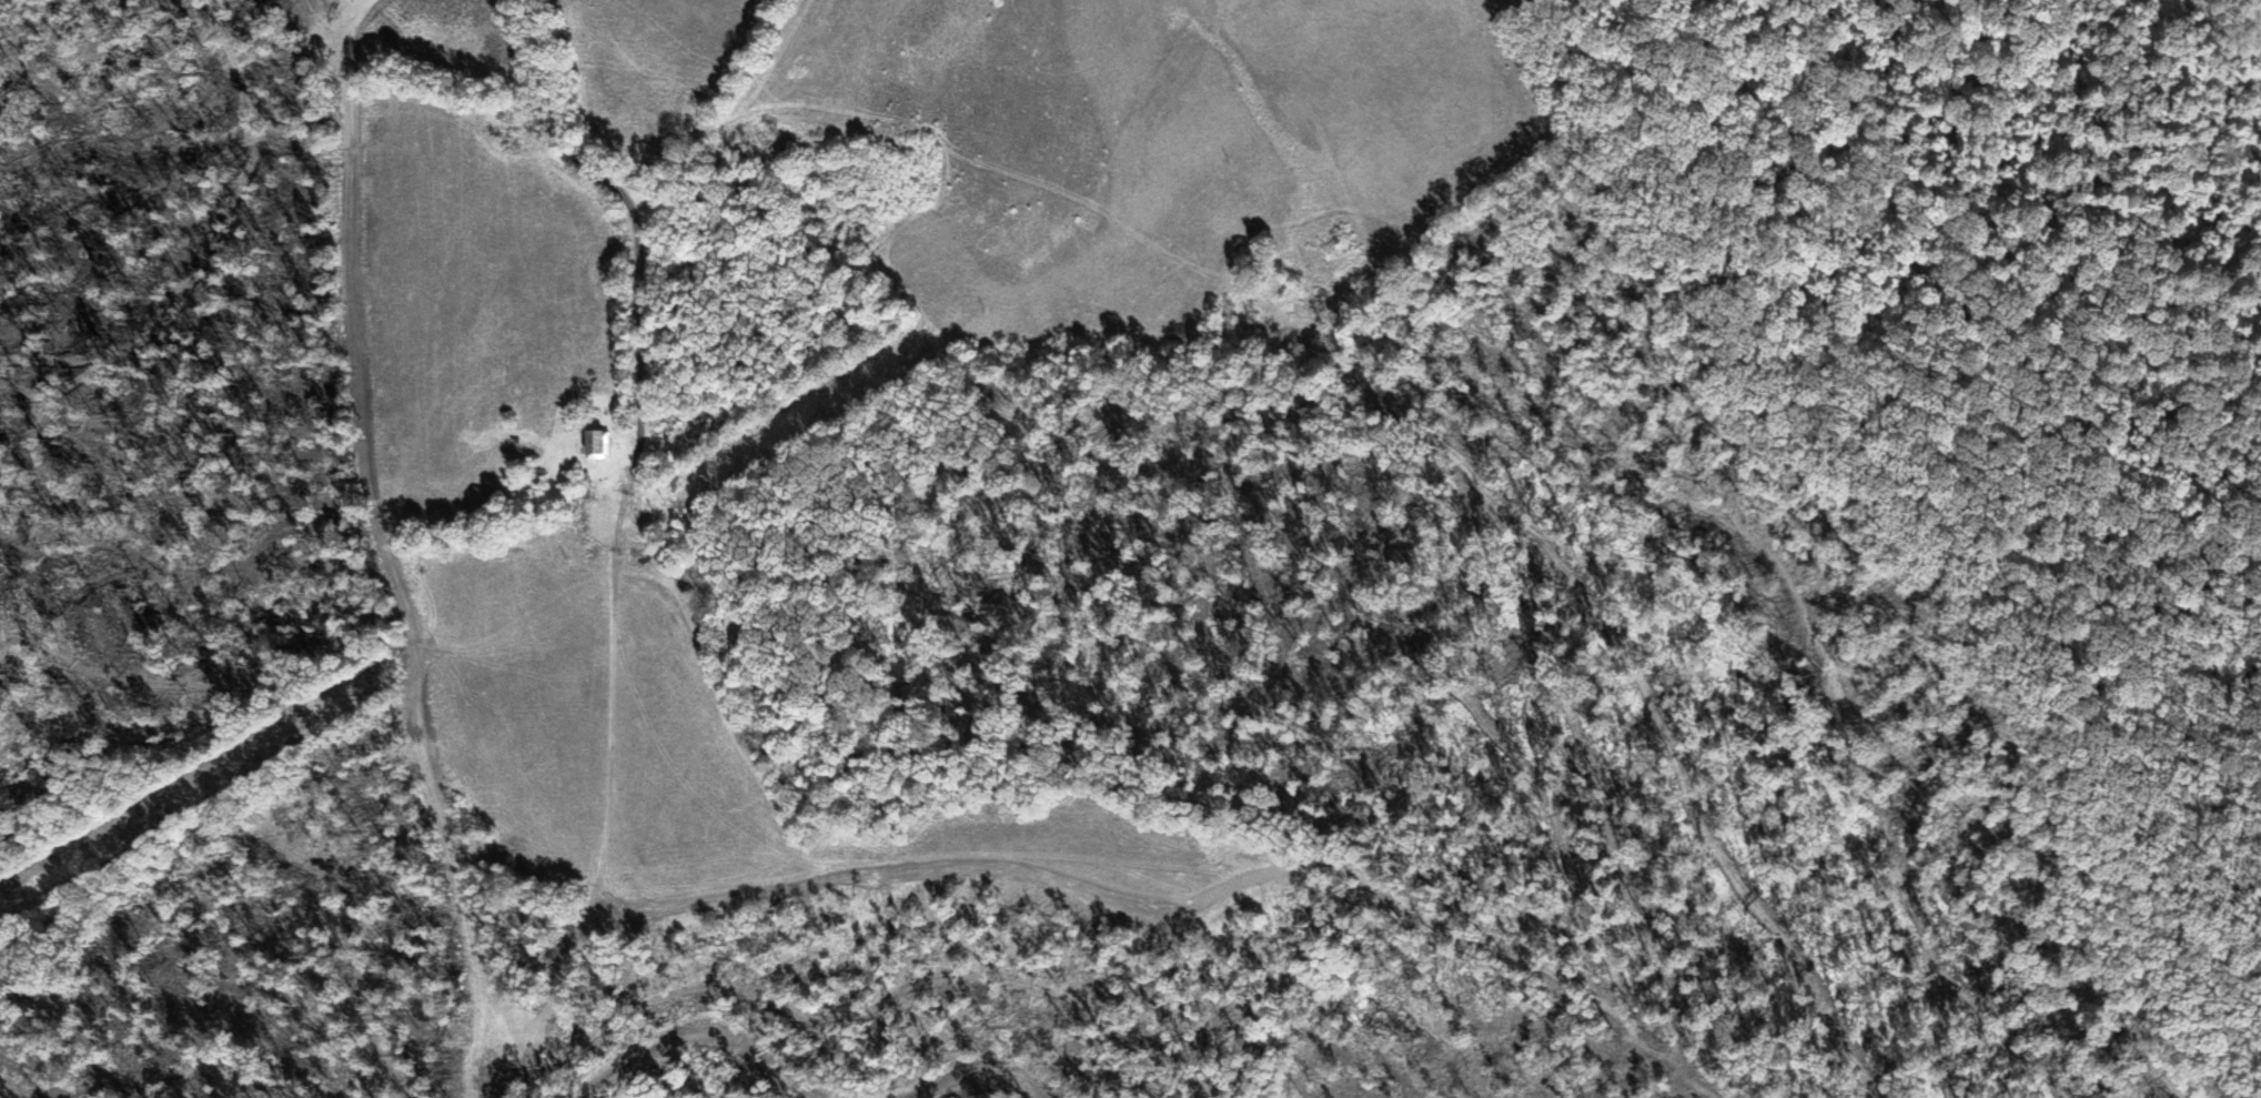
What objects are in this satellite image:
road: (625, 206)
building: (596, 445)

